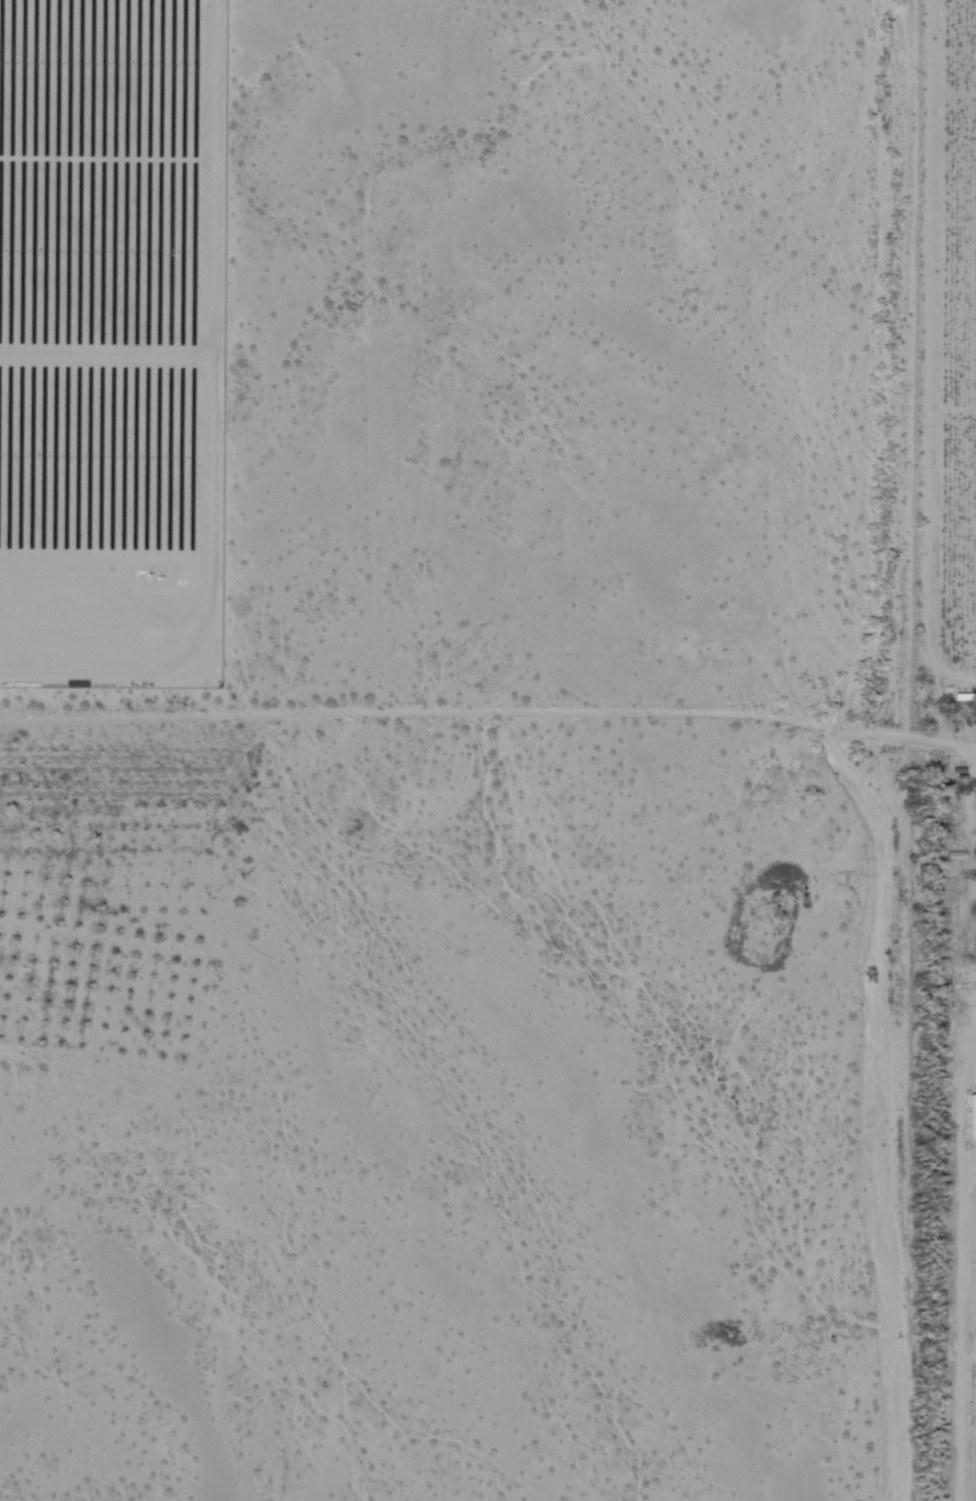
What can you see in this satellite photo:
solar farm: (114, 345)
building: (955, 919)
building: (974, 1113)

